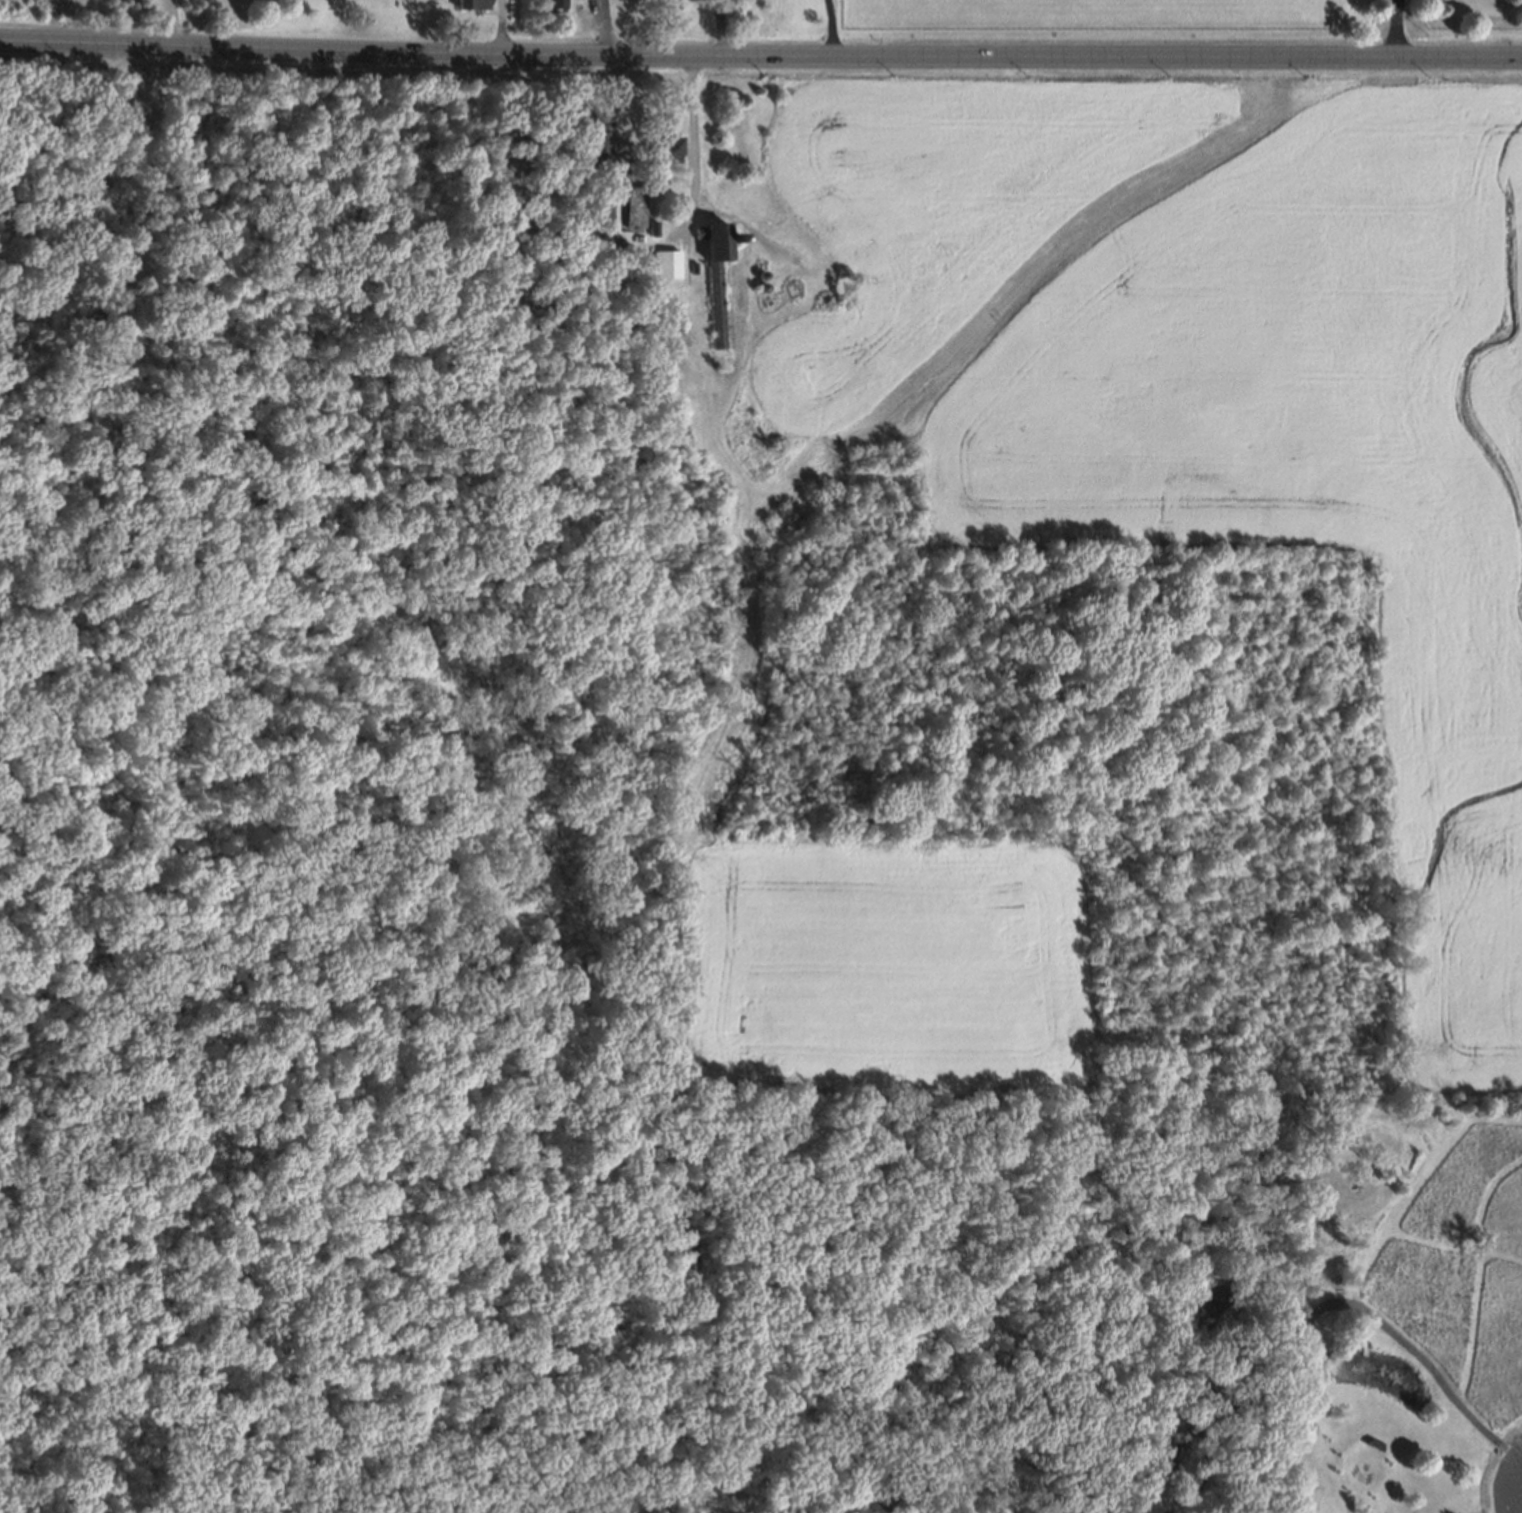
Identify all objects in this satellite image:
building: (467, 3)
building: (553, 3)
road: (172, 22)
road: (502, 27)
road: (606, 27)
road: (830, 27)
road: (1396, 28)
road: (760, 55)
building: (137, 98)
building: (582, 121)
road: (693, 130)
building: (665, 145)
building: (592, 146)
building: (653, 179)
road: (89, 193)
building: (630, 205)
building: (649, 223)
building: (730, 236)
building: (756, 261)
building: (690, 262)
building: (710, 272)
building: (759, 272)
building: (634, 278)
building: (661, 279)
building: (759, 283)
building: (790, 285)
building: (765, 300)
road: (243, 631)
road: (436, 663)
park: (522, 954)
crop: (881, 968)
road: (274, 1022)
road: (124, 1102)
road: (1419, 1195)
road: (783, 1230)
road: (1457, 1246)
road: (1480, 1275)
road: (1427, 1363)
road: (556, 1377)
road: (1213, 1384)
building: (1373, 1445)
road: (1505, 1482)
parking lot: (1514, 1487)
road: (1500, 1511)

